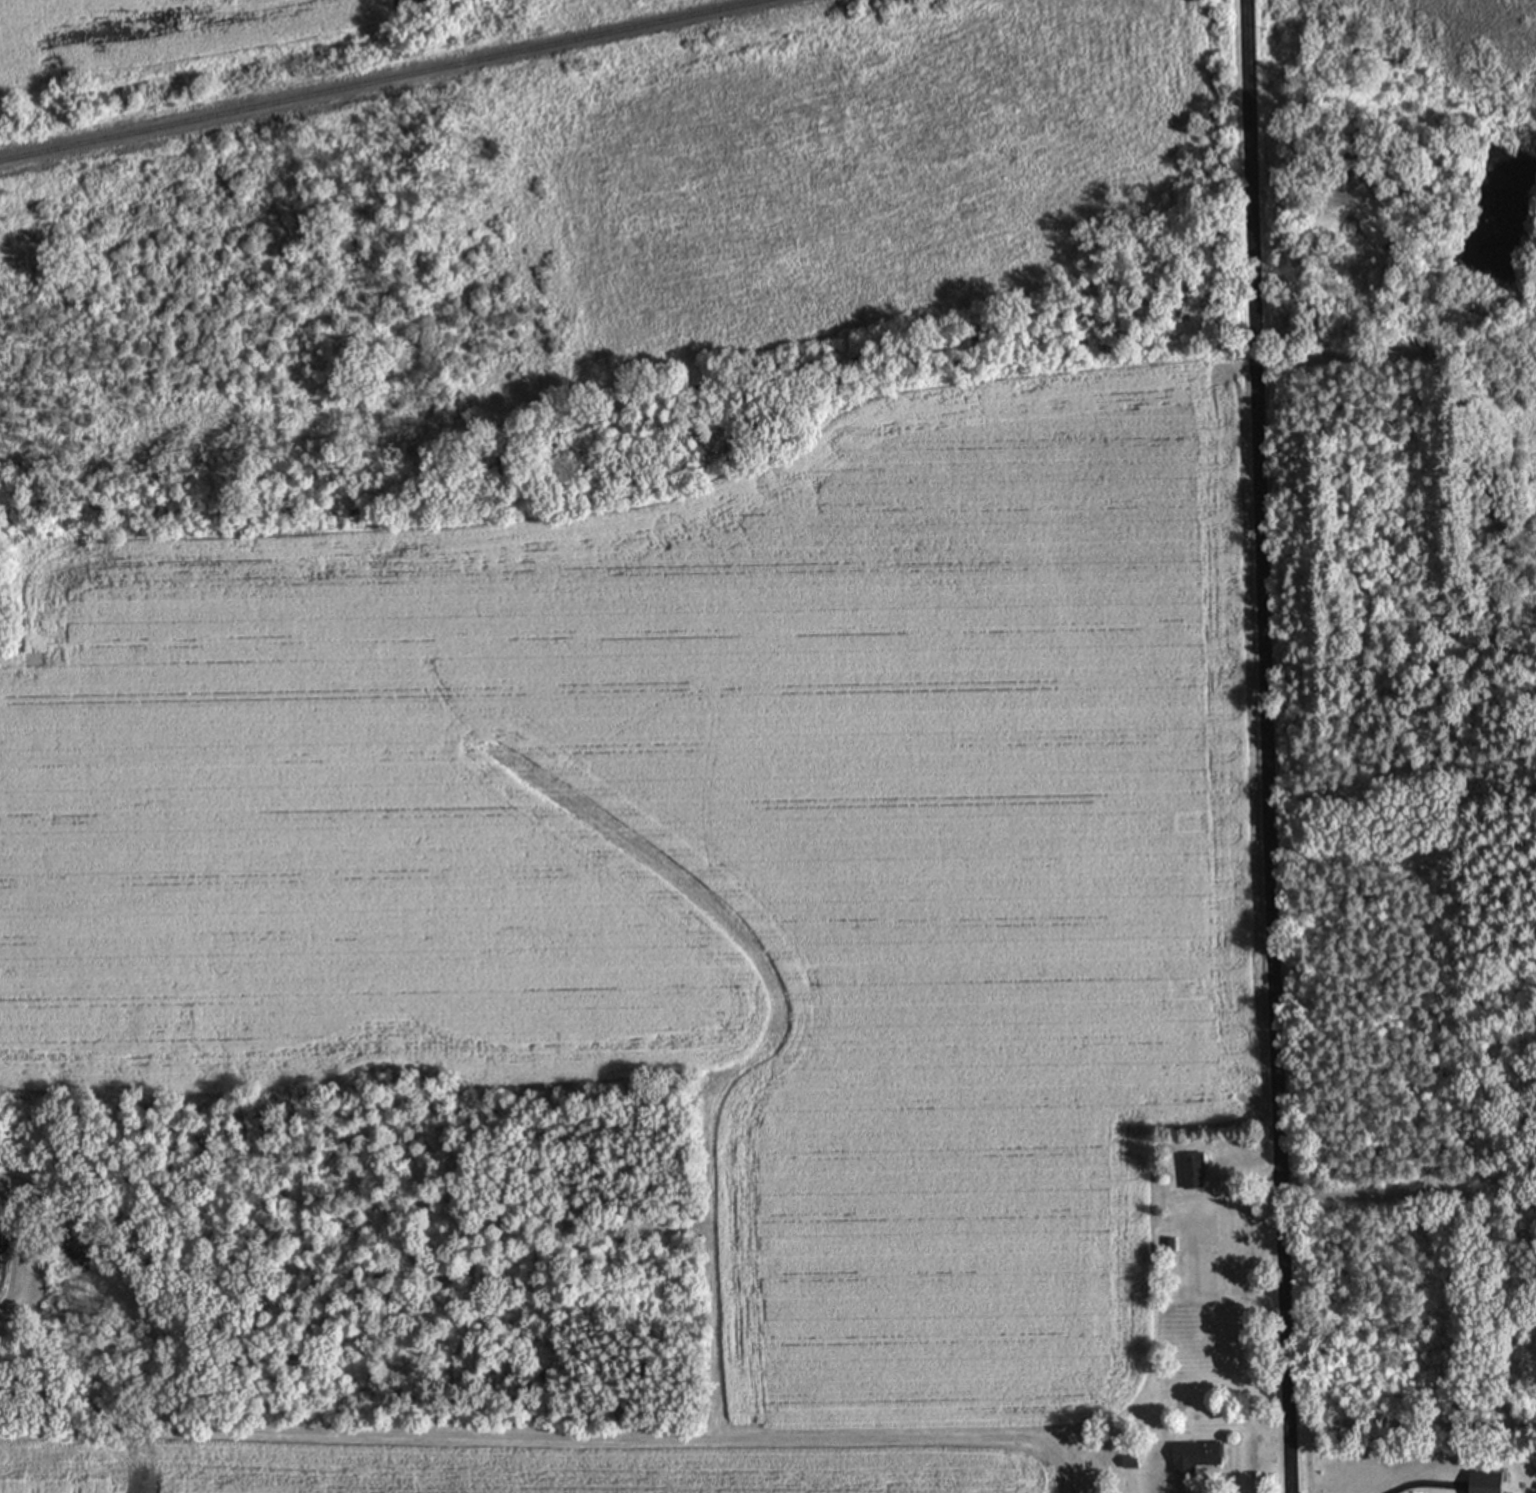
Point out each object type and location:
railway: (379, 79)
road: (1268, 746)
building: (1190, 1170)
building: (1192, 1455)
building: (1127, 1462)
building: (1482, 1482)

